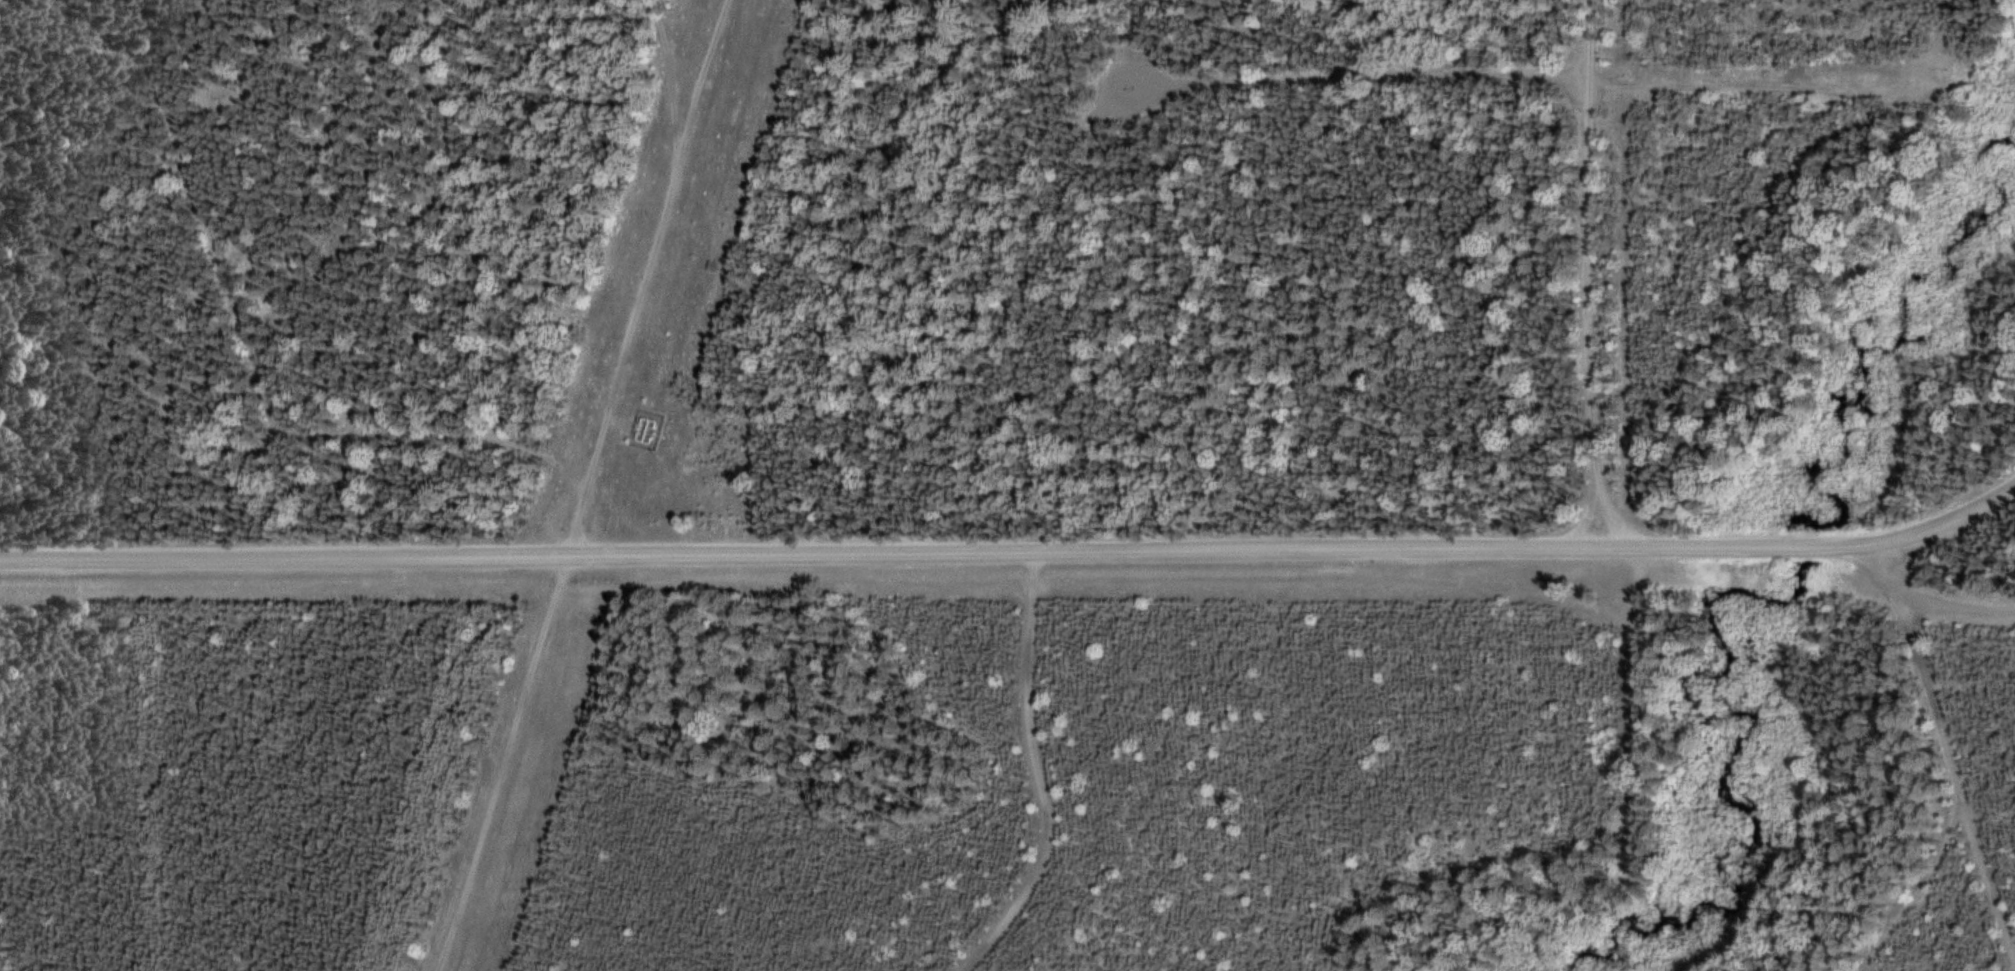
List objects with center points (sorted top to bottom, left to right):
road: (1308, 35)
road: (1516, 80)
road: (660, 86)
road: (699, 86)
road: (1588, 278)
road: (252, 376)
road: (1945, 529)
road: (1751, 544)
road: (816, 555)
road: (555, 571)
road: (1957, 601)
road: (1948, 746)
road: (1037, 782)
road: (1920, 889)

